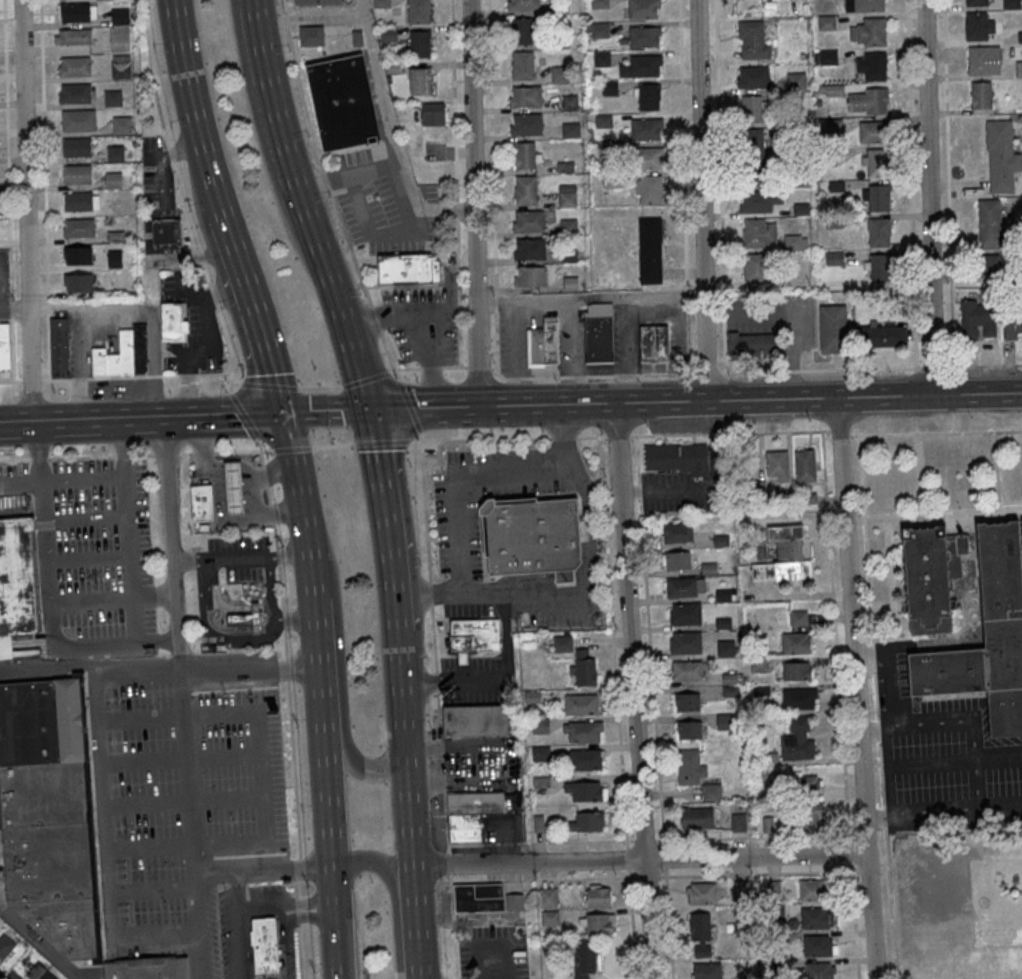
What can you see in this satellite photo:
building: (976, 2)
building: (381, 3)
building: (864, 5)
building: (524, 6)
building: (644, 8)
building: (419, 11)
building: (76, 12)
building: (978, 26)
building: (119, 29)
building: (600, 29)
building: (522, 31)
building: (868, 32)
building: (389, 33)
building: (312, 35)
building: (71, 36)
building: (644, 36)
building: (753, 40)
building: (419, 43)
building: (825, 57)
building: (983, 60)
building: (522, 65)
building: (872, 65)
building: (75, 66)
building: (121, 66)
building: (641, 66)
building: (1019, 69)
building: (752, 77)
building: (420, 80)
building: (796, 81)
road: (299, 84)
building: (832, 90)
building: (75, 93)
building: (981, 95)
building: (525, 96)
building: (648, 97)
building: (112, 98)
road: (272, 99)
road: (453, 101)
building: (867, 101)
building: (345, 103)
building: (752, 108)
road: (194, 110)
building: (433, 113)
building: (78, 119)
building: (121, 124)
building: (525, 124)
building: (832, 126)
building: (570, 129)
building: (646, 129)
building: (871, 132)
road: (393, 133)
road: (261, 139)
building: (753, 142)
road: (682, 143)
road: (166, 144)
road: (42, 146)
building: (76, 146)
road: (492, 147)
road: (7, 149)
building: (115, 153)
building: (525, 155)
building: (1001, 156)
building: (649, 158)
building: (876, 162)
building: (77, 174)
road: (350, 176)
road: (325, 179)
building: (113, 180)
road: (911, 183)
road: (720, 186)
building: (648, 189)
building: (525, 190)
parking lot: (428, 196)
building: (567, 196)
building: (877, 197)
road: (928, 197)
road: (700, 200)
building: (77, 201)
building: (759, 201)
road: (472, 203)
road: (456, 208)
road: (26, 211)
road: (949, 218)
building: (530, 220)
building: (989, 224)
building: (568, 226)
building: (78, 228)
road: (370, 231)
building: (166, 232)
building: (879, 232)
building: (760, 234)
building: (793, 243)
building: (529, 249)
building: (650, 250)
building: (78, 255)
building: (568, 255)
building: (115, 258)
building: (989, 262)
building: (881, 267)
building: (408, 269)
building: (757, 269)
building: (530, 276)
building: (79, 282)
road: (364, 284)
road: (222, 290)
road: (458, 290)
road: (686, 293)
road: (212, 295)
road: (589, 295)
road: (496, 301)
road: (46, 303)
road: (338, 303)
road: (88, 306)
road: (11, 307)
road: (14, 308)
road: (408, 313)
road: (257, 316)
building: (977, 319)
building: (172, 321)
road: (366, 321)
building: (1013, 322)
road: (205, 325)
building: (832, 329)
road: (687, 336)
building: (881, 336)
building: (599, 337)
road: (496, 340)
building: (747, 341)
building: (653, 342)
building: (543, 343)
building: (5, 345)
building: (60, 346)
road: (228, 348)
road: (11, 349)
road: (47, 351)
building: (123, 354)
parking lot: (209, 360)
road: (430, 360)
parking lot: (174, 363)
road: (453, 365)
road: (184, 366)
road: (430, 366)
road: (407, 367)
road: (478, 368)
road: (391, 371)
road: (721, 372)
road: (185, 374)
road: (213, 374)
road: (111, 377)
road: (363, 379)
road: (29, 380)
road: (6, 381)
road: (16, 381)
street lamp: (415, 383)
road: (233, 384)
road: (268, 386)
road: (318, 388)
road: (864, 397)
road: (604, 403)
road: (408, 406)
road: (438, 407)
traffic signals: (374, 411)
road: (329, 413)
traffic signals: (285, 415)
road: (224, 416)
road: (244, 416)
road: (81, 420)
street lamp: (500, 431)
road: (773, 432)
road: (934, 433)
street lamp: (327, 434)
road: (668, 434)
road: (714, 434)
road: (837, 434)
road: (590, 435)
road: (617, 435)
road: (562, 437)
street lamp: (416, 440)
road: (485, 440)
road: (382, 442)
road: (415, 442)
road: (332, 445)
road: (715, 445)
street lamp: (547, 447)
road: (122, 448)
street lamp: (527, 448)
road: (290, 449)
street lamp: (468, 449)
street lamp: (498, 449)
road: (240, 451)
road: (201, 453)
road: (260, 453)
road: (160, 454)
road: (123, 456)
road: (81, 457)
road: (15, 458)
road: (38, 458)
road: (636, 458)
building: (677, 458)
building: (805, 465)
building: (777, 466)
road: (992, 471)
street lamp: (442, 474)
road: (918, 475)
road: (264, 477)
road: (62, 479)
road: (461, 479)
building: (233, 488)
road: (638, 489)
street lamp: (595, 491)
road: (668, 491)
gas station: (222, 495)
road: (267, 496)
parking lot: (675, 496)
building: (201, 504)
street lamp: (414, 504)
road: (304, 506)
road: (424, 507)
road: (280, 513)
road: (270, 514)
road: (933, 516)
road: (85, 517)
road: (228, 517)
road: (386, 519)
street lamp: (433, 529)
building: (677, 532)
road: (44, 533)
road: (170, 536)
building: (533, 537)
parking lot: (457, 538)
parking lot: (90, 555)
building: (785, 556)
road: (89, 559)
road: (132, 559)
building: (677, 560)
street lamp: (419, 567)
road: (565, 576)
road: (583, 576)
building: (931, 576)
road: (866, 578)
street lamp: (445, 579)
road: (532, 579)
building: (18, 582)
building: (680, 587)
road: (280, 591)
road: (430, 594)
road: (590, 595)
road: (163, 596)
road: (100, 599)
road: (203, 605)
parking lot: (468, 612)
building: (684, 613)
building: (798, 617)
building: (249, 618)
parking lot: (559, 621)
road: (834, 637)
building: (987, 637)
building: (471, 639)
road: (433, 640)
road: (157, 642)
road: (612, 642)
building: (684, 642)
building: (796, 642)
road: (95, 644)
building: (726, 647)
road: (318, 663)
building: (759, 665)
building: (583, 667)
road: (287, 669)
building: (687, 670)
building: (797, 670)
road: (207, 672)
road: (650, 673)
road: (493, 682)
road: (435, 683)
parking lot: (470, 683)
road: (402, 686)
road: (854, 688)
road: (633, 690)
building: (799, 698)
building: (686, 701)
building: (582, 703)
road: (179, 716)
road: (438, 718)
road: (891, 719)
building: (44, 721)
building: (475, 722)
building: (688, 729)
road: (951, 729)
building: (582, 731)
road: (877, 732)
building: (798, 739)
road: (324, 750)
road: (440, 750)
road: (505, 756)
road: (182, 759)
building: (585, 759)
road: (441, 766)
building: (690, 767)
road: (359, 768)
road: (294, 770)
road: (880, 776)
road: (442, 782)
road: (457, 783)
building: (805, 785)
building: (586, 791)
building: (46, 794)
parking lot: (184, 801)
road: (185, 801)
road: (408, 804)
road: (328, 805)
road: (105, 806)
road: (942, 814)
road: (188, 815)
building: (469, 816)
building: (812, 817)
building: (697, 818)
road: (882, 819)
road: (444, 821)
building: (587, 822)
parking lot: (502, 829)
road: (860, 835)
road: (754, 837)
road: (643, 841)
road: (254, 843)
road: (539, 843)
road: (848, 853)
road: (626, 859)
road: (663, 859)
road: (639, 860)
road: (448, 863)
road: (245, 870)
road: (298, 870)
road: (316, 870)
road: (863, 872)
road: (757, 874)
road: (645, 877)
road: (542, 880)
building: (57, 885)
building: (740, 888)
road: (296, 889)
building: (812, 889)
road: (152, 890)
road: (393, 891)
building: (702, 893)
building: (598, 894)
building: (548, 897)
building: (485, 898)
road: (262, 901)
road: (889, 904)
road: (305, 909)
road: (335, 909)
road: (296, 911)
road: (257, 913)
building: (816, 917)
building: (549, 919)
road: (853, 920)
road: (415, 921)
building: (598, 923)
road: (239, 924)
road: (630, 924)
road: (667, 924)
road: (452, 926)
parking lot: (229, 931)
road: (154, 934)
building: (700, 934)
building: (263, 944)
building: (5, 945)
road: (290, 945)
building: (817, 945)
road: (489, 947)
road: (299, 952)
building: (585, 958)
building: (149, 968)
building: (706, 970)
building: (819, 970)
building: (40, 972)
building: (13, 975)

